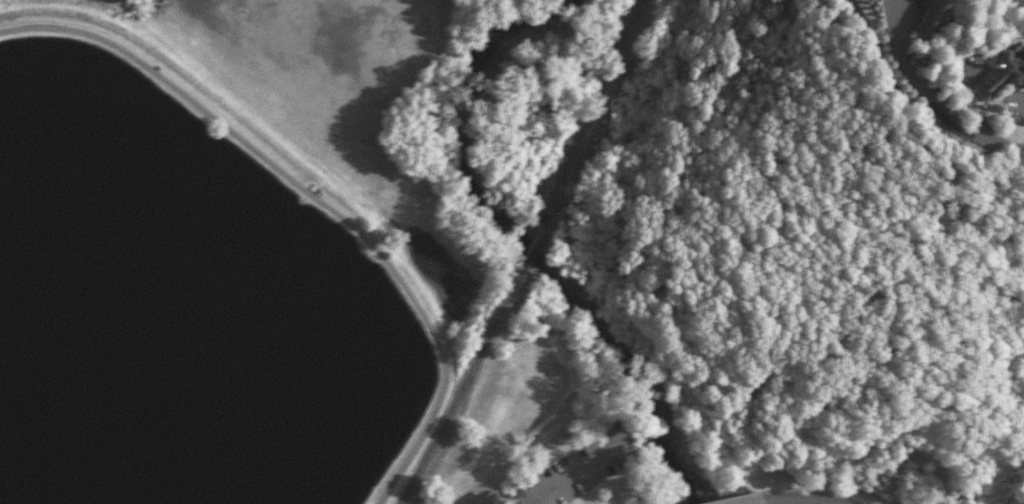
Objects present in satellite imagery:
building: (928, 20)
building: (1001, 74)
road: (932, 103)
railway: (591, 108)
road: (316, 199)
railway: (524, 253)
railway: (458, 398)
road: (563, 478)
road: (802, 495)
building: (487, 500)
road: (747, 502)

